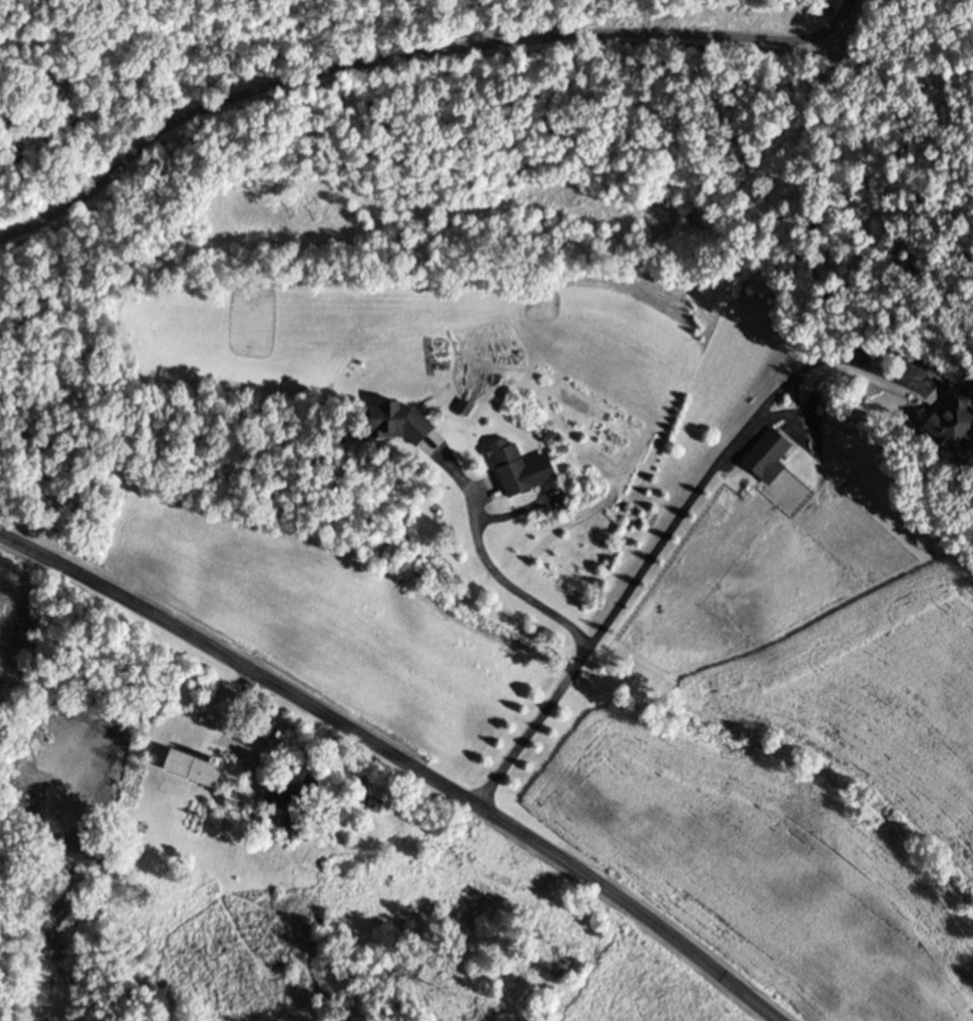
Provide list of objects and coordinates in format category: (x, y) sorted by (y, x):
road: (409, 62)
building: (394, 418)
building: (951, 419)
building: (766, 450)
building: (507, 463)
road: (665, 535)
road: (486, 562)
crop: (5, 588)
building: (259, 722)
road: (399, 760)
building: (192, 765)
building: (290, 796)
building: (363, 799)

